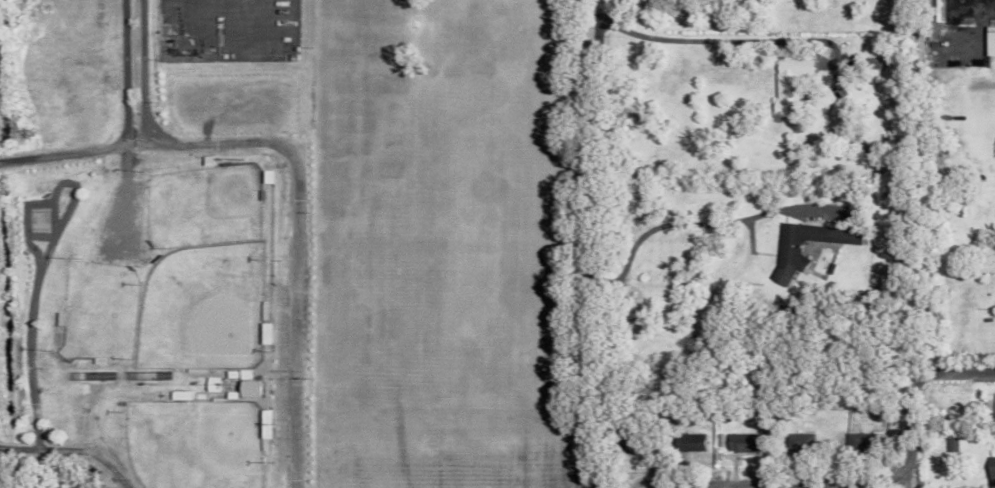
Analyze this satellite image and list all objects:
building: (929, 3)
road: (709, 39)
building: (785, 85)
road: (67, 153)
road: (292, 170)
road: (699, 221)
road: (593, 244)
building: (786, 250)
park: (170, 272)
building: (211, 384)
building: (247, 389)
building: (178, 395)
building: (994, 407)
park: (198, 441)
building: (800, 441)
building: (690, 442)
building: (741, 443)
building: (951, 444)
road: (77, 447)
building: (990, 471)
road: (860, 475)

